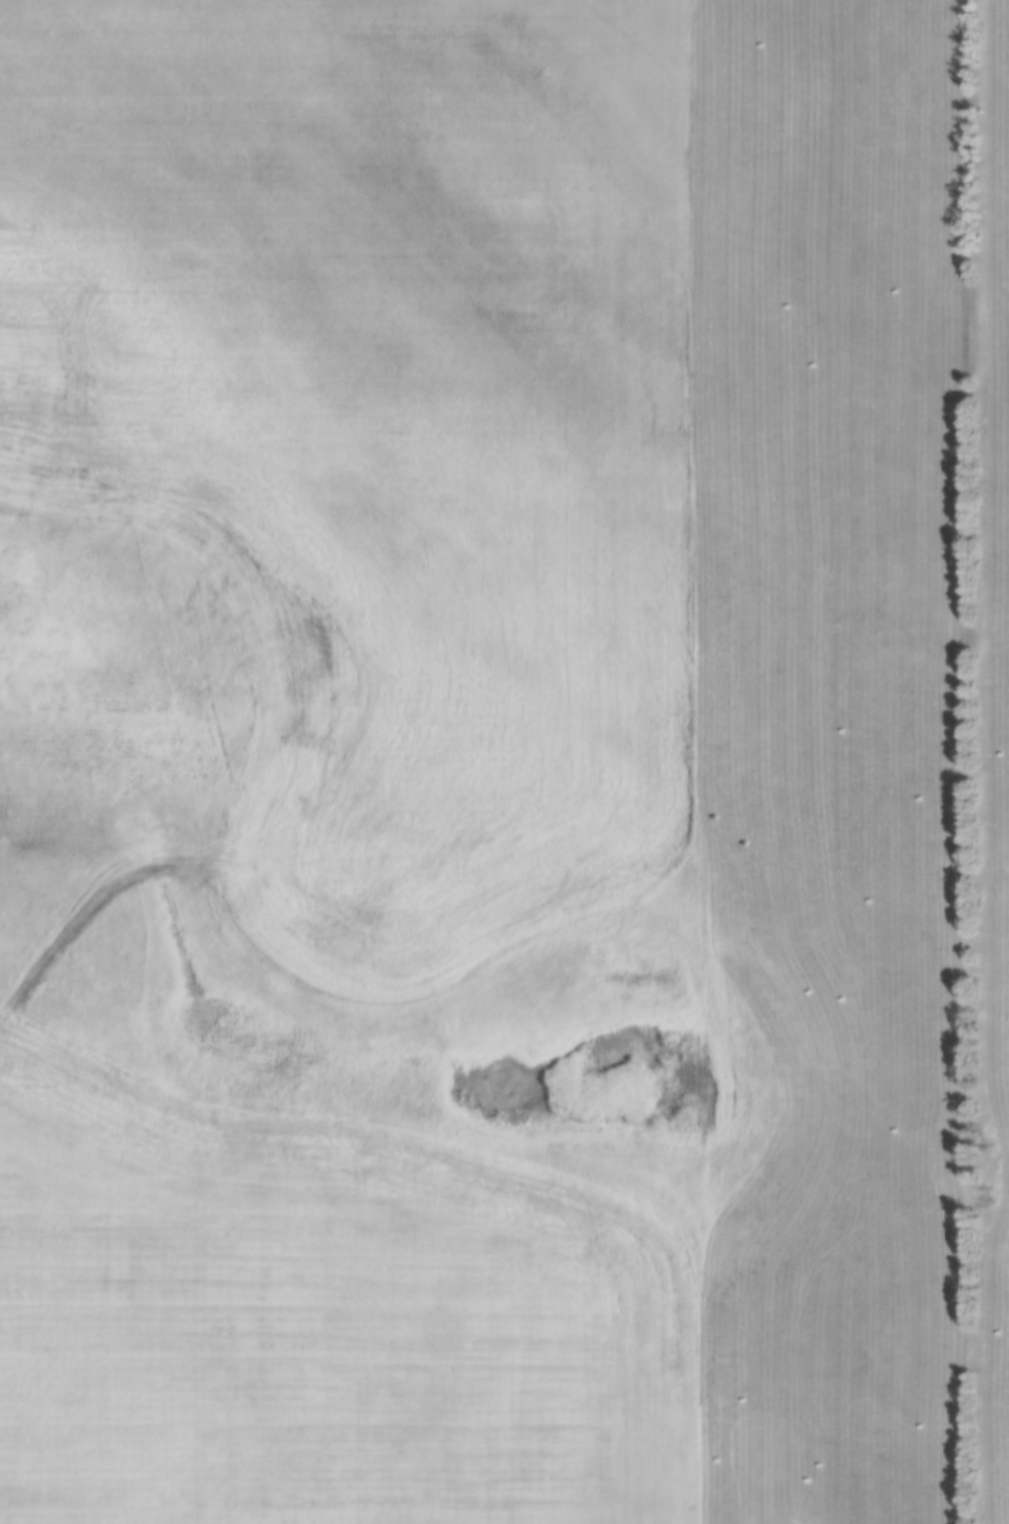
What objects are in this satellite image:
crop: (383, 428)
crop: (318, 1319)

